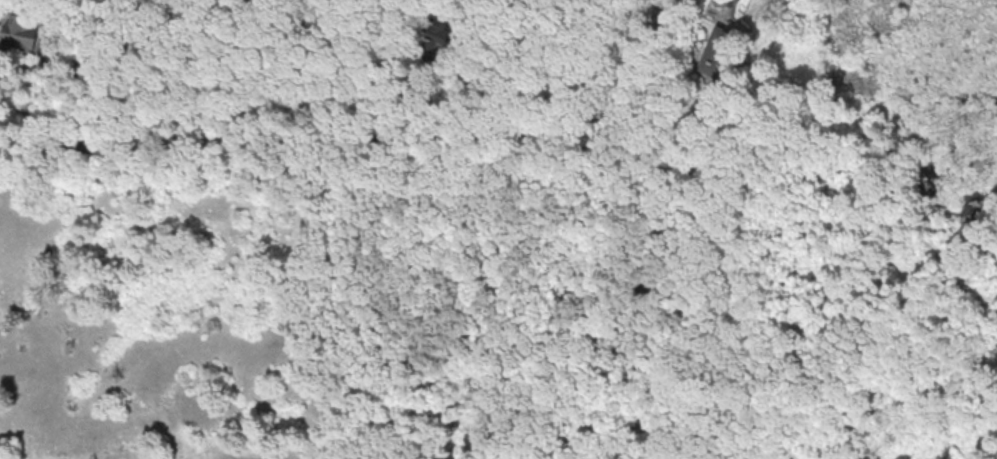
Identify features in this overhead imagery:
building: (20, 32)
park: (900, 52)
building: (716, 54)
road: (367, 139)

